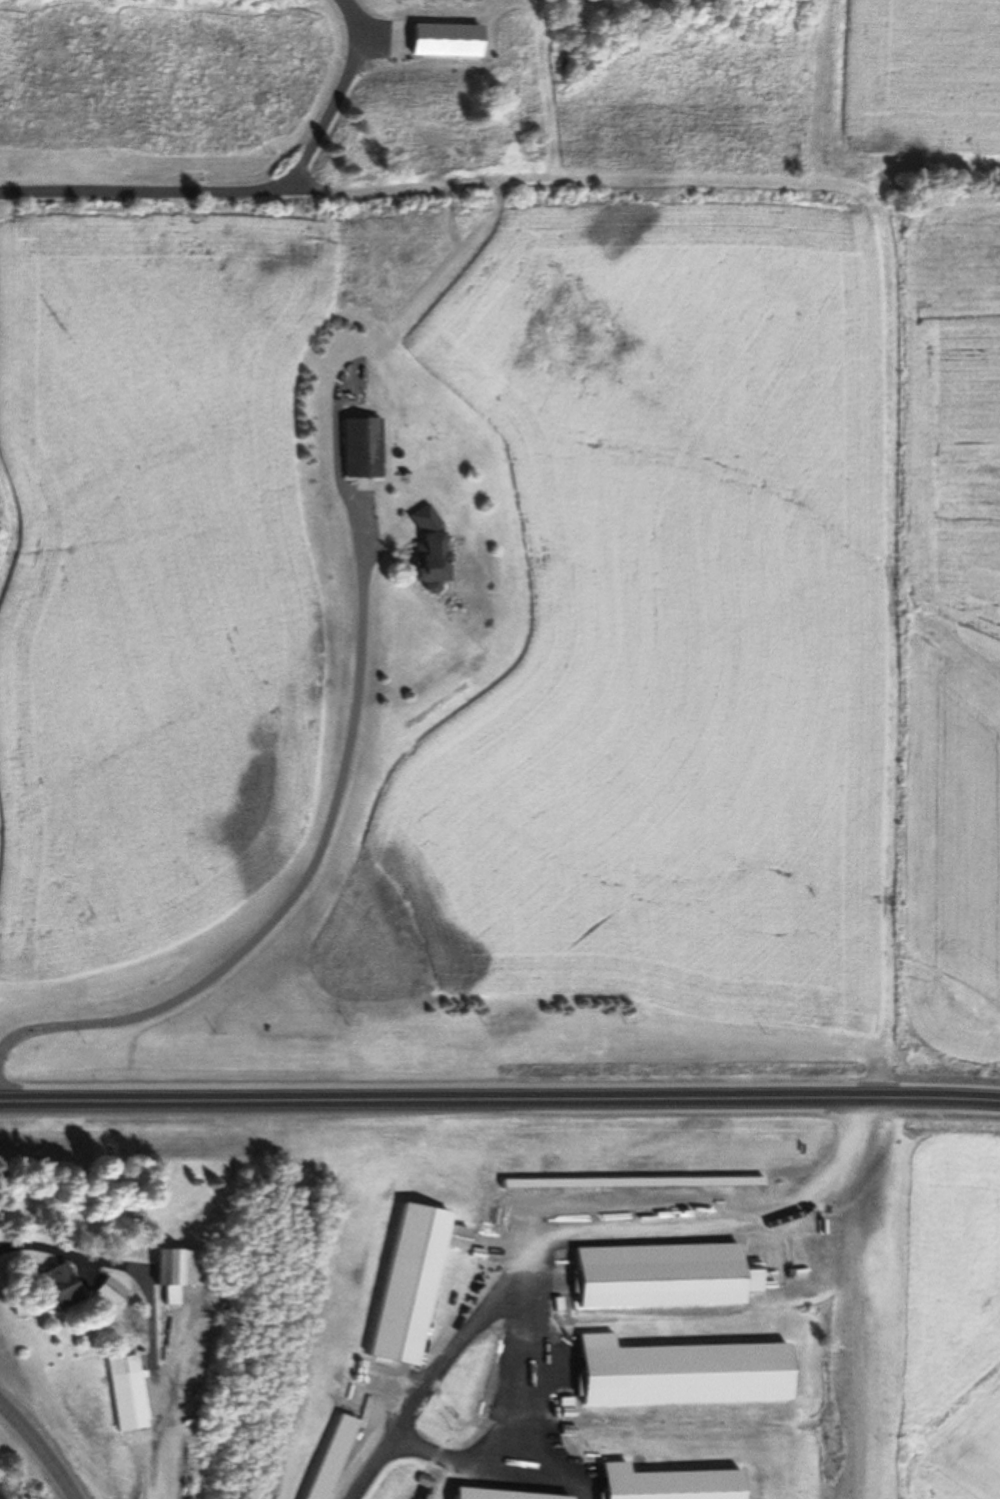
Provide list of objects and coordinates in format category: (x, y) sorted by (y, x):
building: (388, 42)
road: (337, 97)
building: (449, 148)
road: (143, 192)
building: (362, 447)
building: (428, 548)
road: (358, 880)
road: (500, 1099)
building: (175, 1271)
building: (663, 1275)
building: (415, 1279)
building: (58, 1286)
building: (109, 1291)
building: (679, 1371)
building: (126, 1392)
road: (42, 1446)
building: (332, 1456)
building: (665, 1483)

